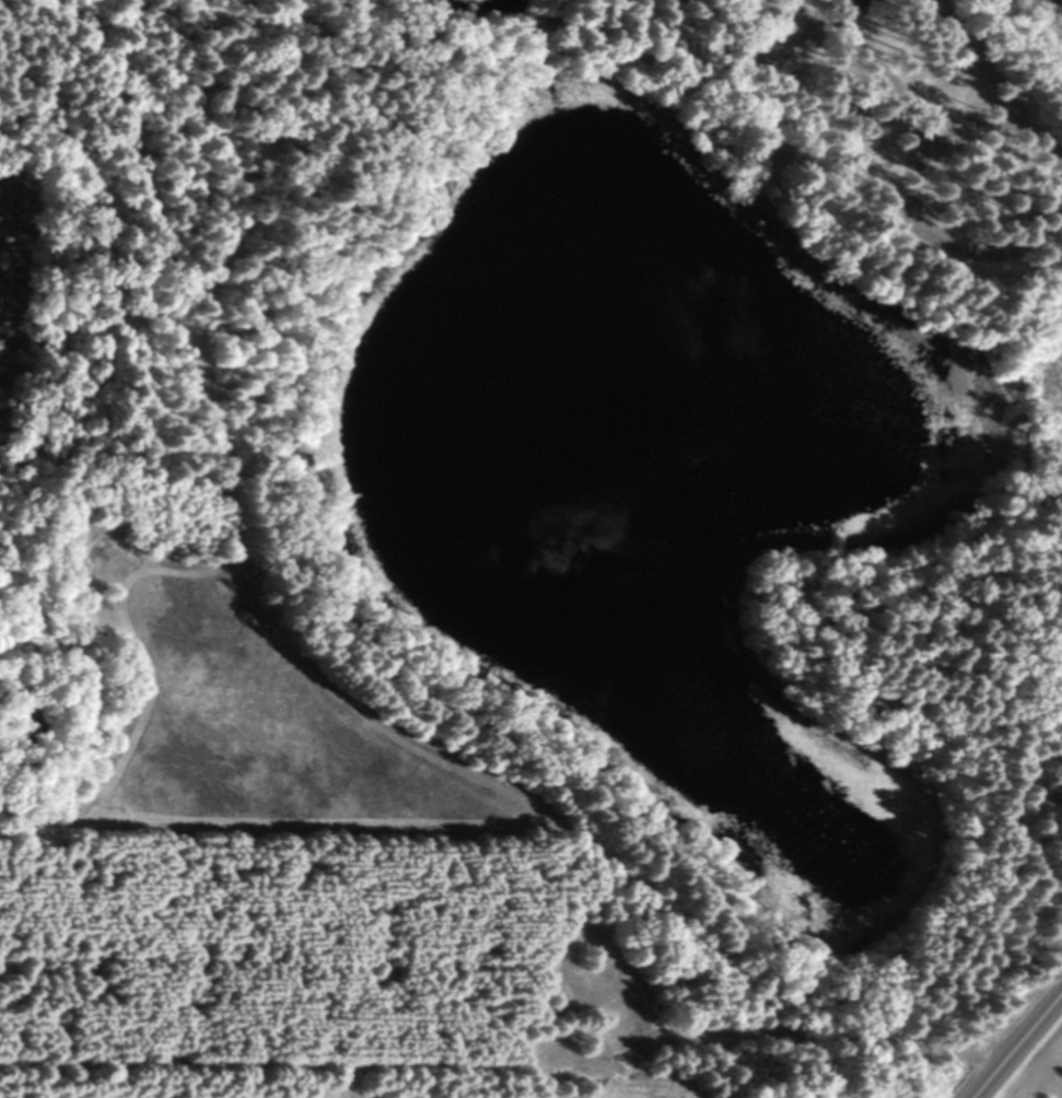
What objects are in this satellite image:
building: (675, 1)
road: (994, 85)
road: (1014, 1042)

